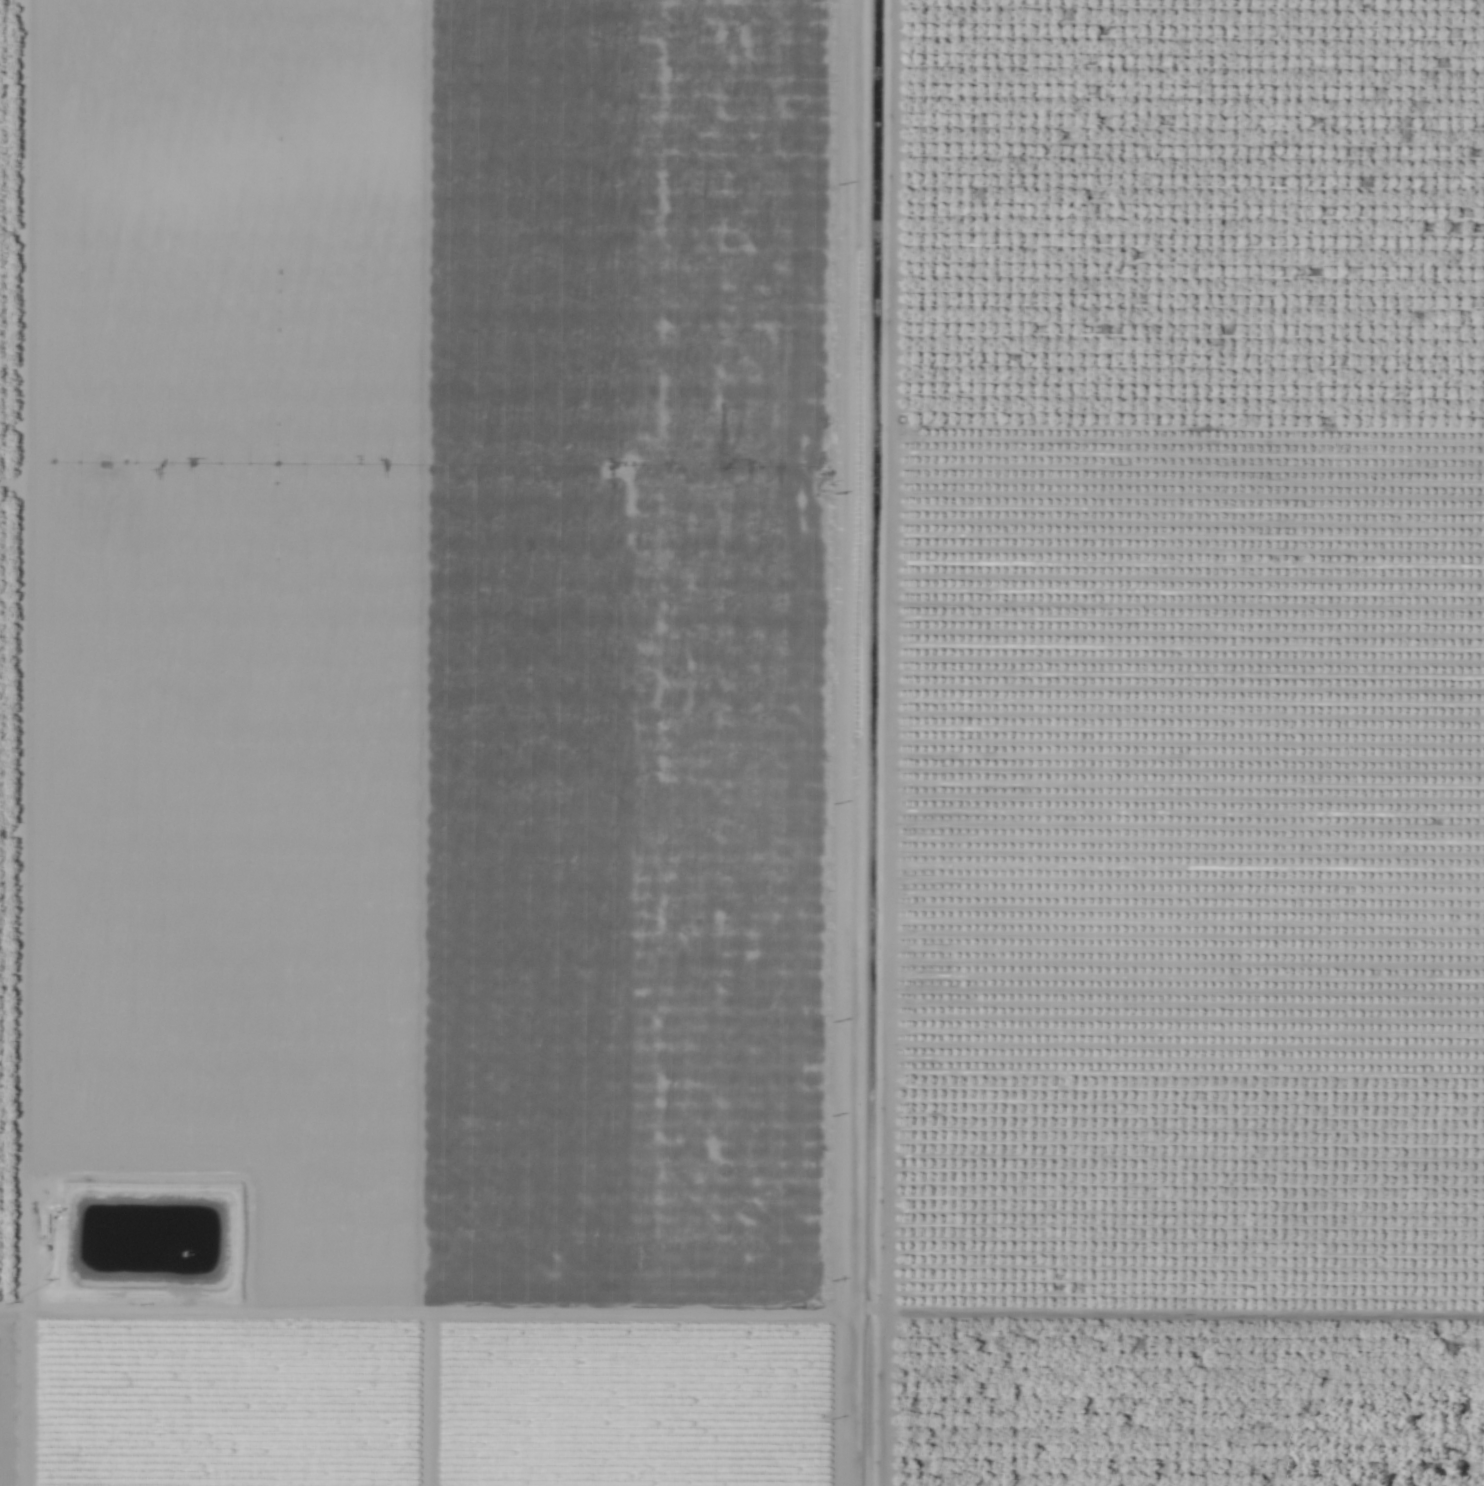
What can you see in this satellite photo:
road: (13, 655)
crop: (742, 743)
road: (847, 743)
road: (742, 1309)

